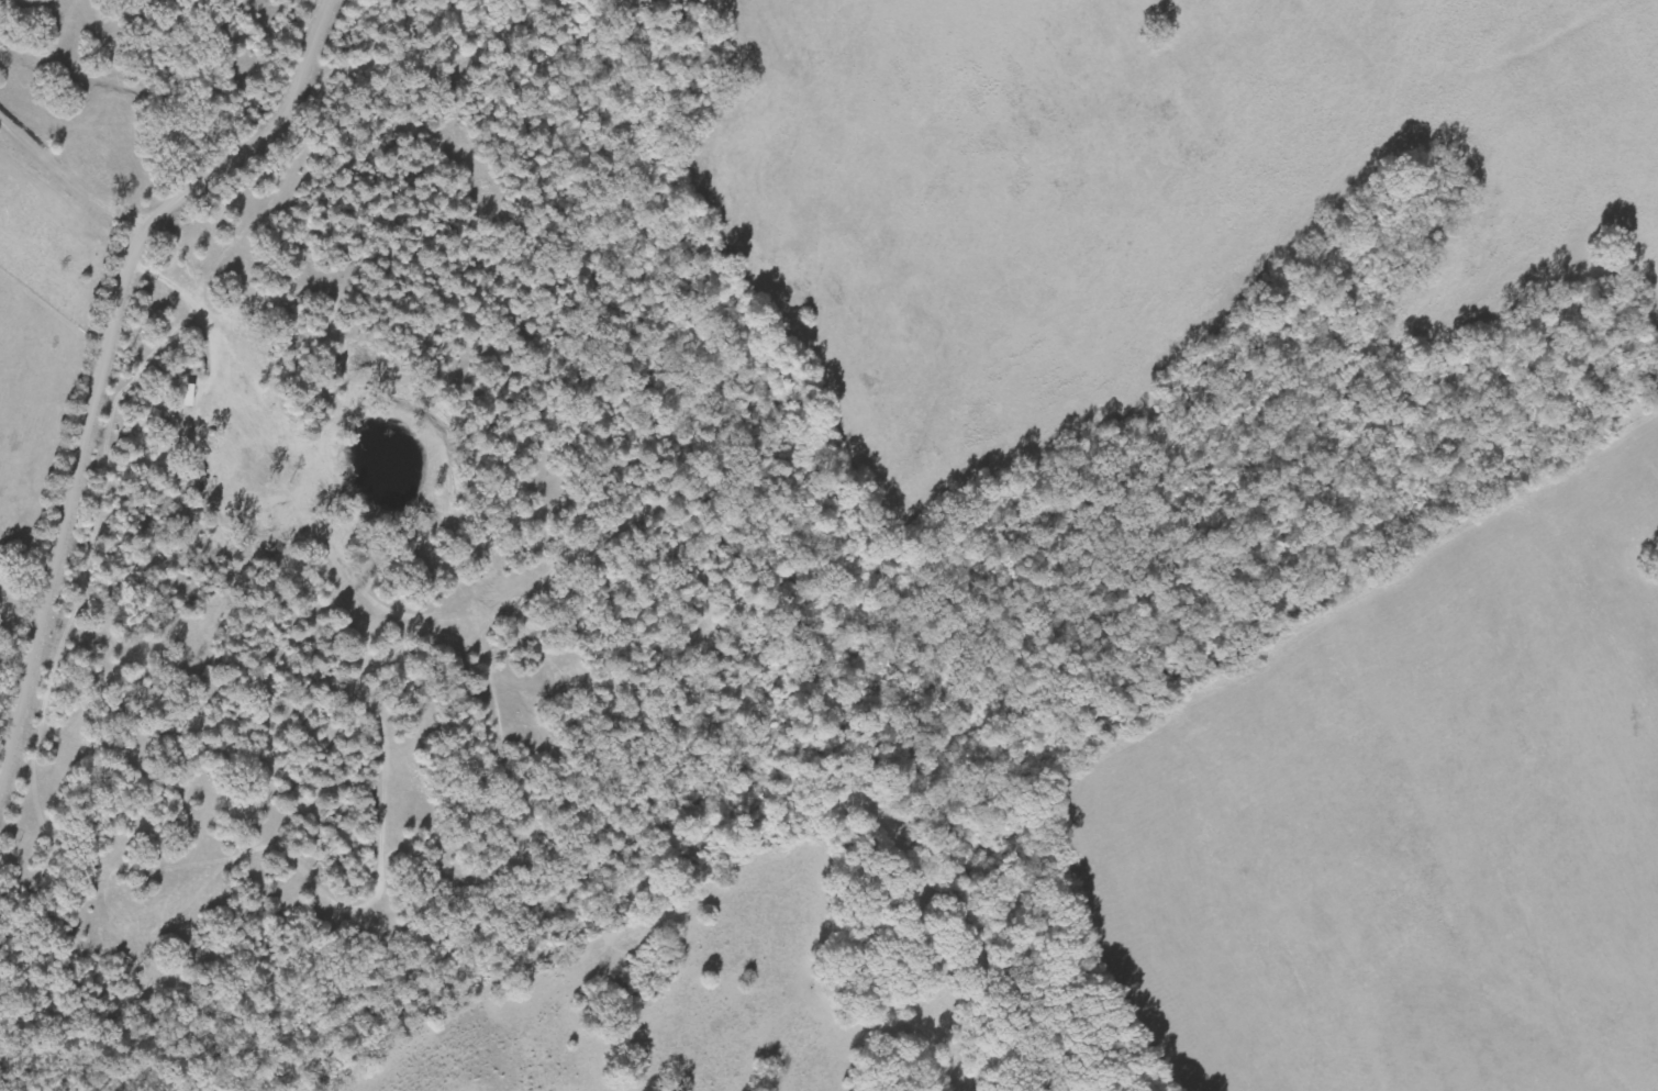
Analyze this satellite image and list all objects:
road: (103, 344)
building: (192, 396)

